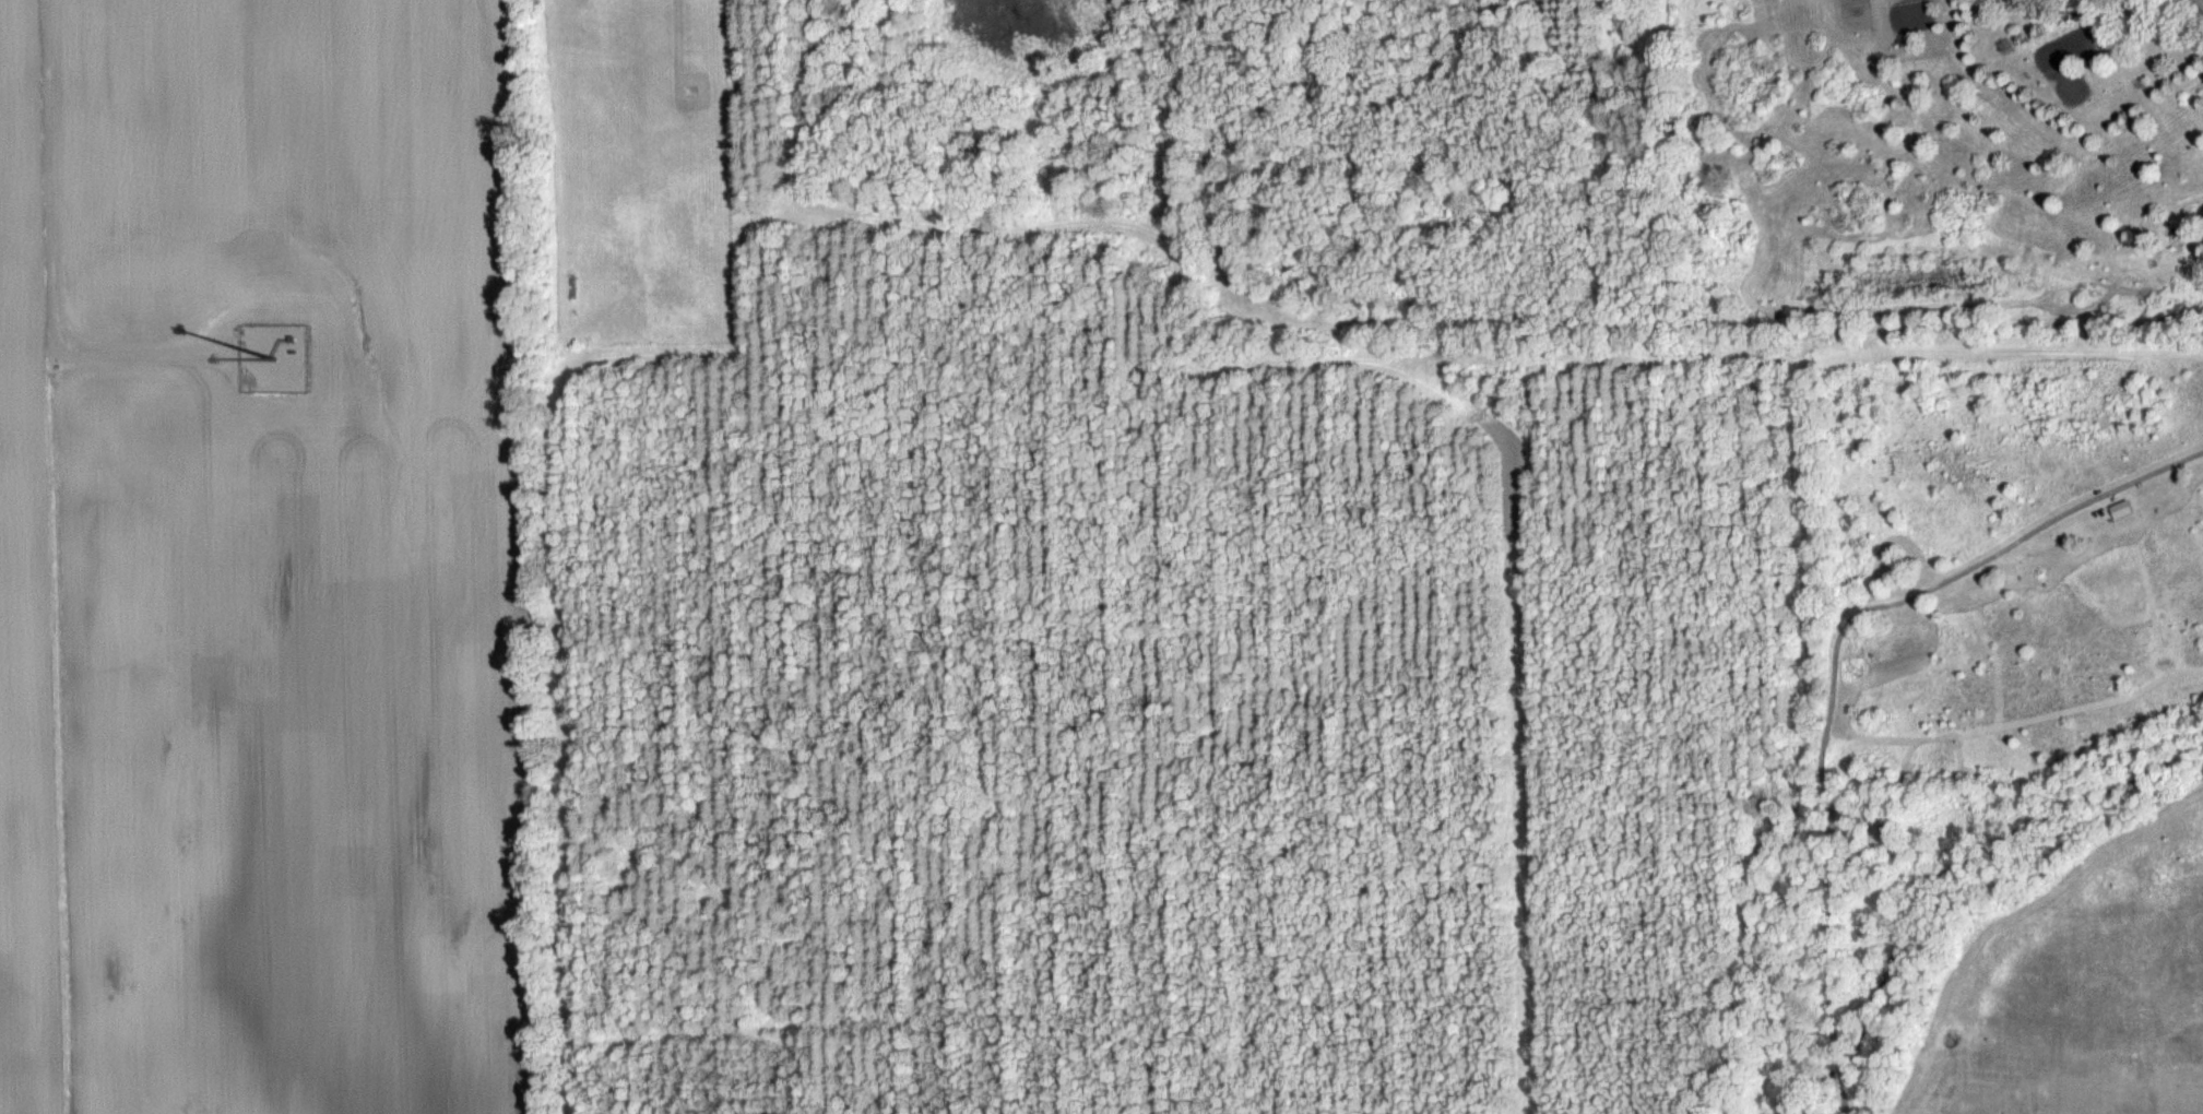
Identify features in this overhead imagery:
road: (2200, 3)

